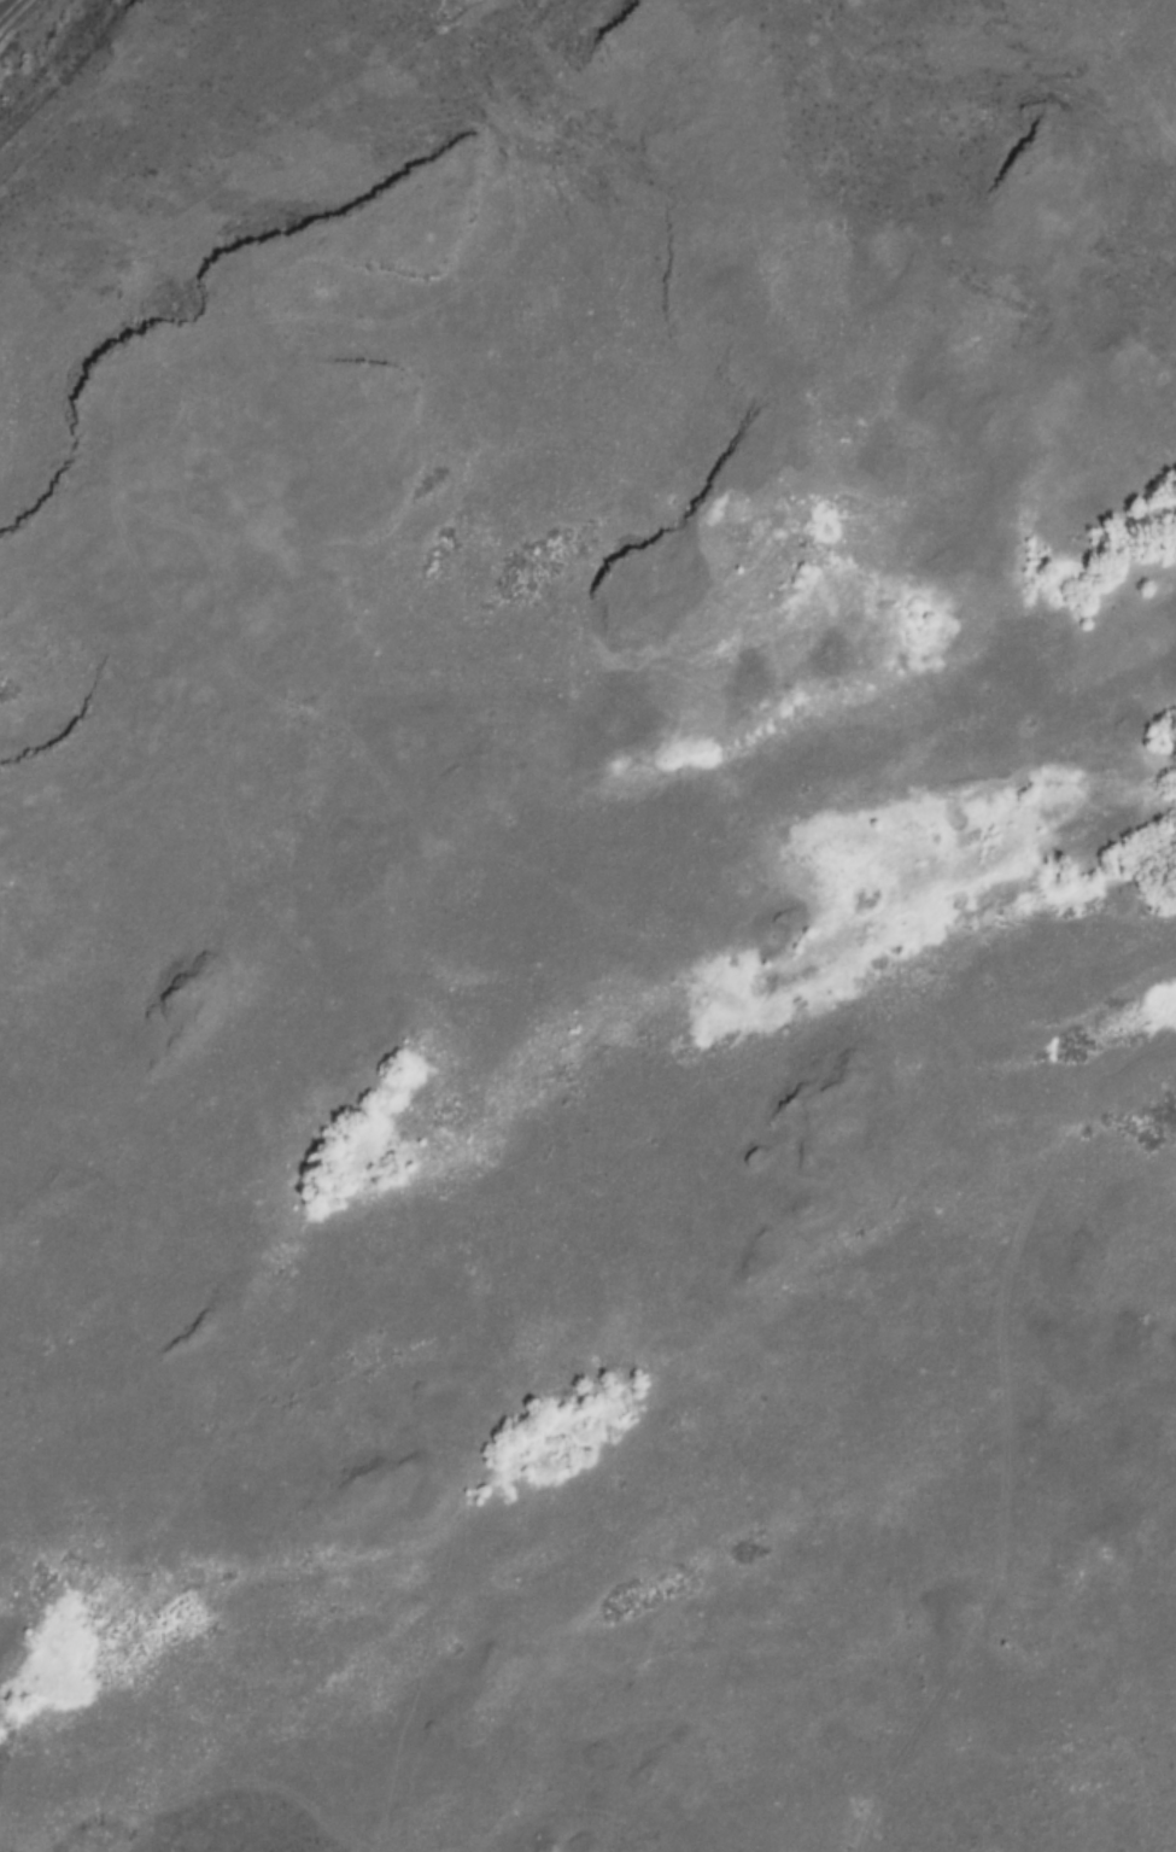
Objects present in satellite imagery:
railway: (23, 23)

